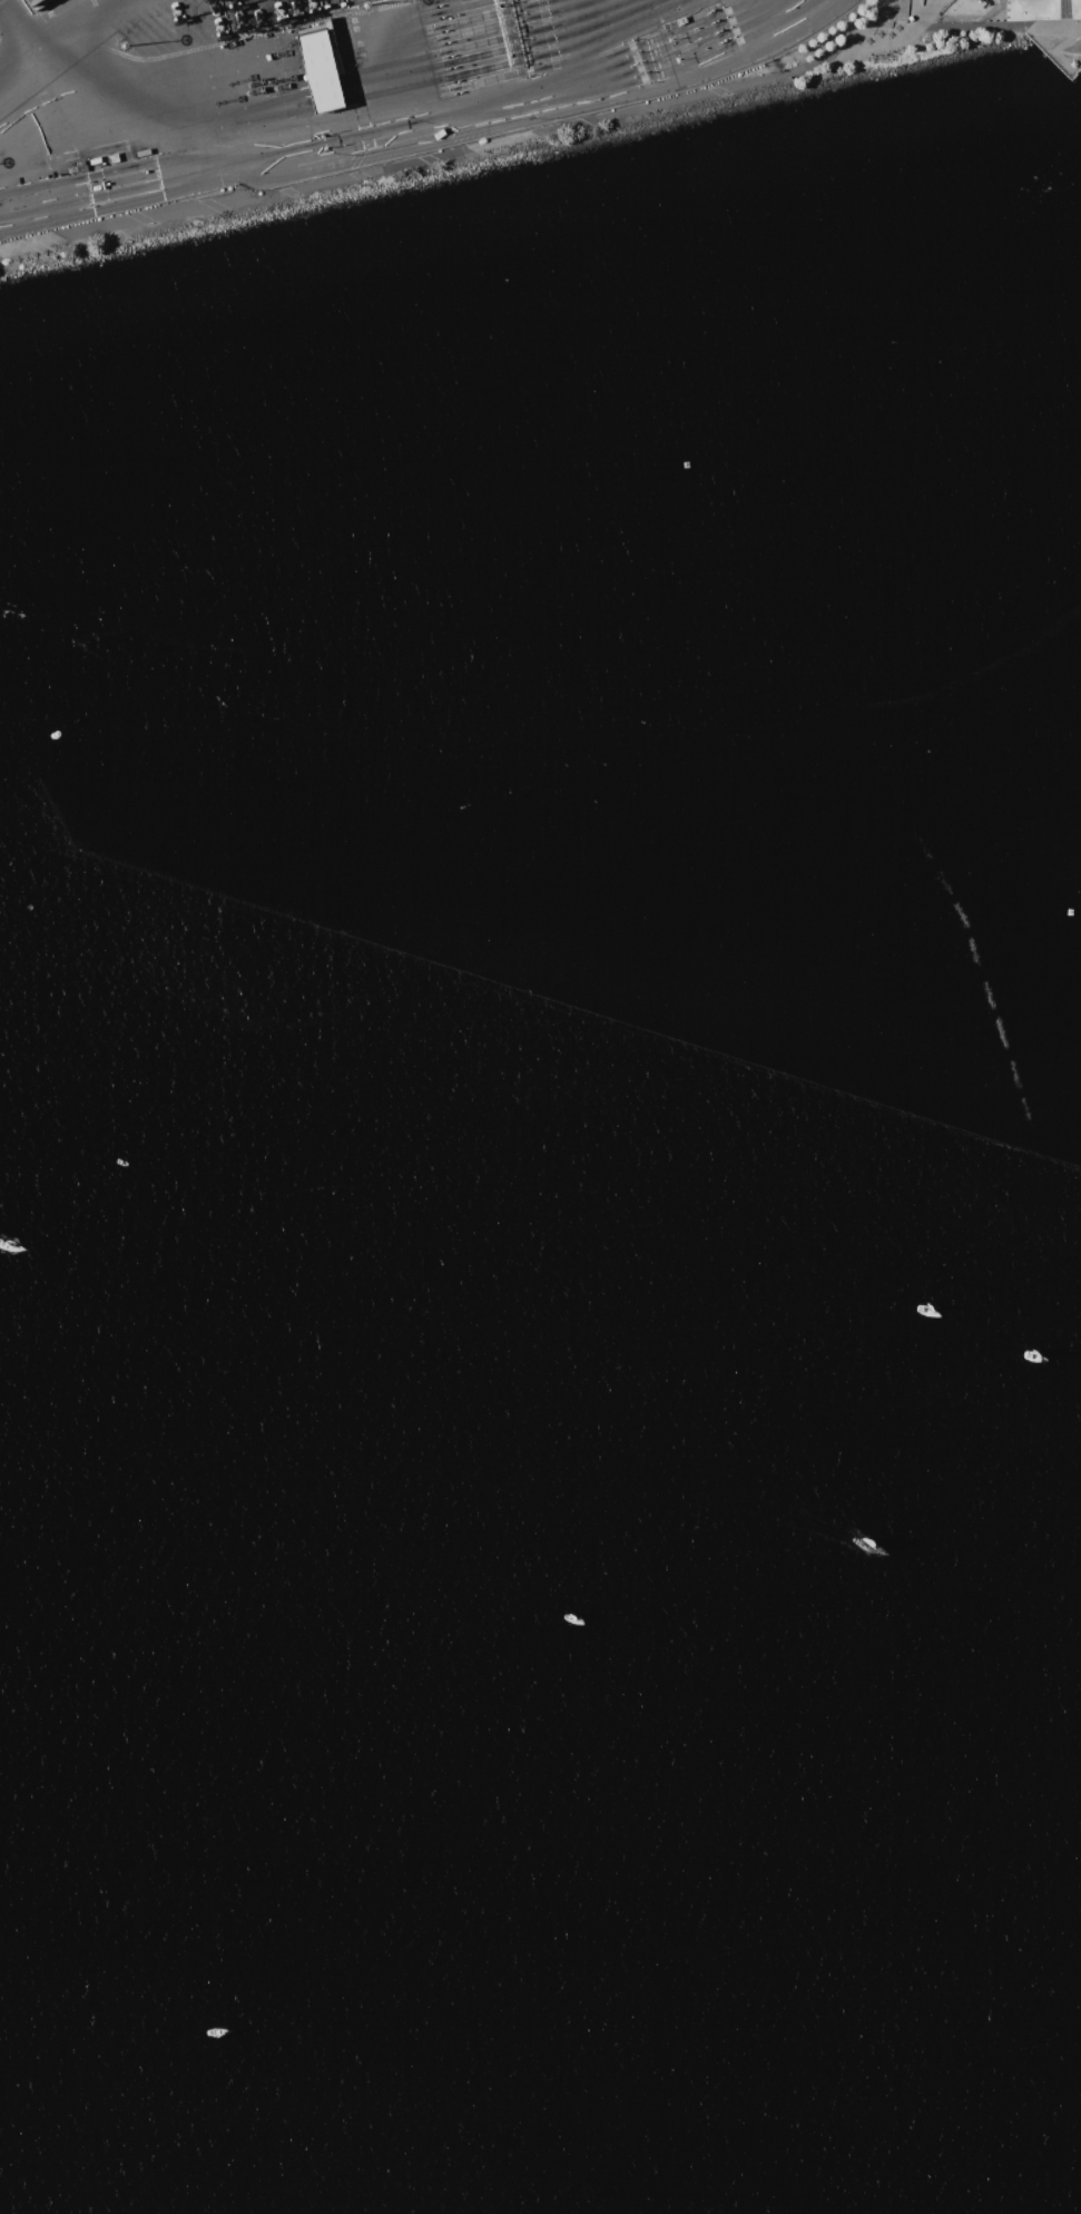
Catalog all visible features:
building: (35, 4)
road: (917, 14)
road: (922, 14)
road: (931, 14)
road: (1000, 16)
road: (1065, 16)
road: (62, 19)
road: (1057, 55)
road: (263, 67)
building: (320, 70)
park: (784, 78)
road: (434, 114)
park: (576, 129)
road: (541, 138)

